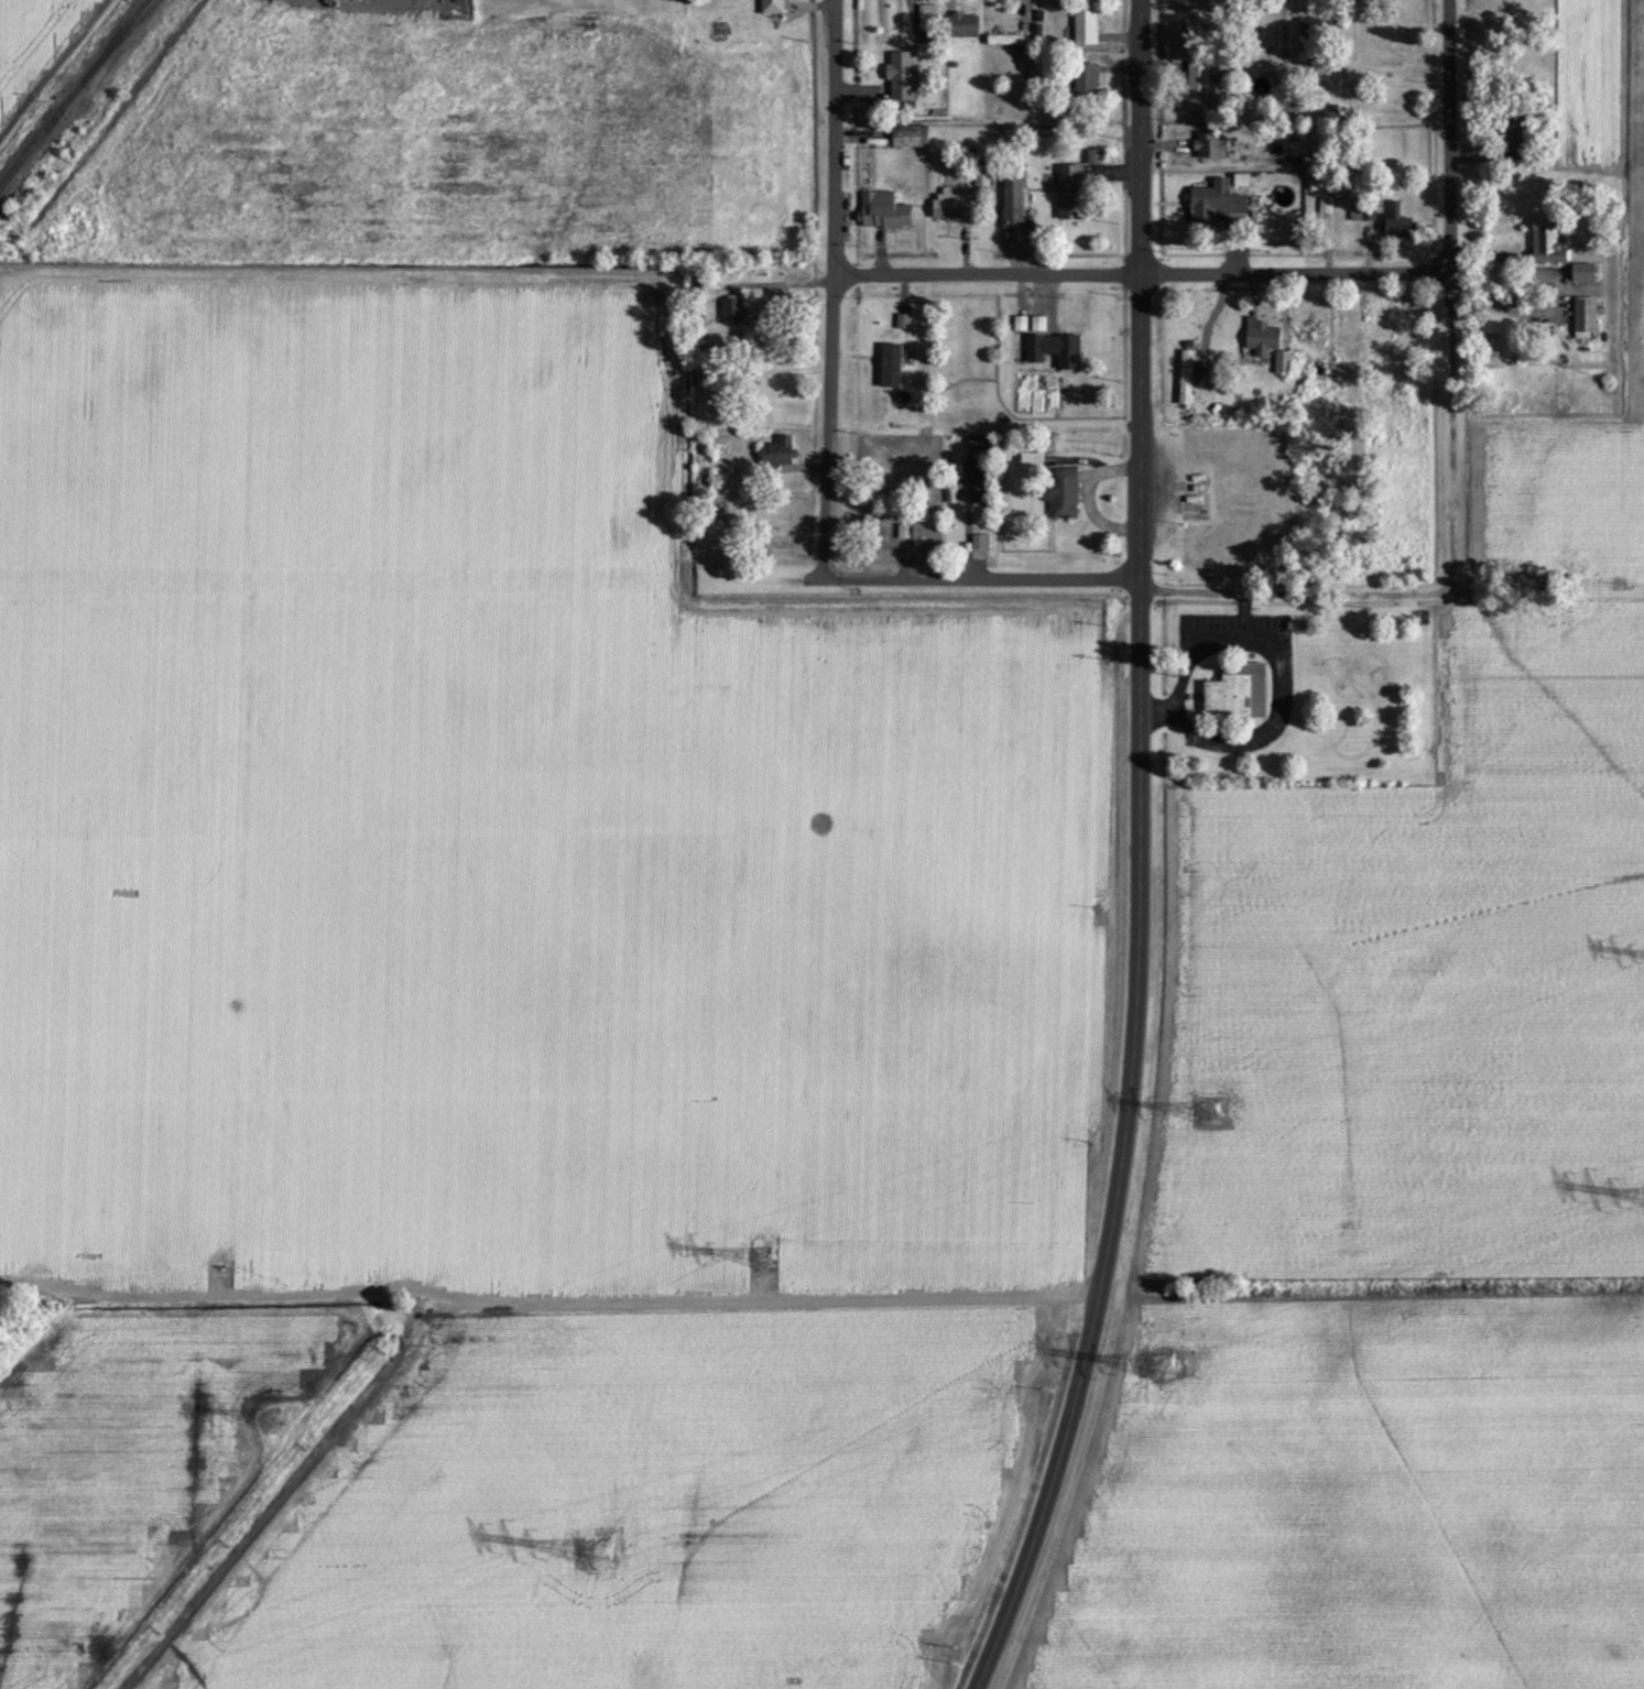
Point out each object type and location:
building: (772, 8)
building: (926, 19)
railway: (133, 21)
building: (1085, 25)
building: (963, 26)
building: (1006, 41)
building: (901, 77)
building: (1086, 79)
building: (1198, 86)
railway: (73, 92)
building: (910, 138)
building: (1514, 140)
building: (1209, 148)
building: (1093, 159)
building: (1319, 186)
building: (1069, 194)
building: (1216, 204)
building: (1012, 205)
building: (951, 207)
building: (1325, 207)
building: (882, 213)
building: (1395, 225)
building: (1546, 244)
road: (988, 271)
road: (1296, 273)
building: (1582, 274)
crop: (1631, 281)
road: (831, 287)
road: (1142, 290)
road: (1450, 294)
building: (732, 314)
building: (1585, 319)
building: (1020, 325)
building: (1261, 339)
building: (1055, 351)
building: (1282, 363)
building: (891, 367)
building: (1185, 379)
building: (978, 445)
building: (779, 451)
building: (1032, 462)
building: (972, 481)
building: (1061, 493)
building: (922, 530)
building: (978, 542)
road: (1126, 579)
building: (1237, 693)
crop: (1417, 988)
road: (1123, 1144)
power tower: (1166, 1366)
power tower: (276, 1417)
power tower: (601, 1551)

